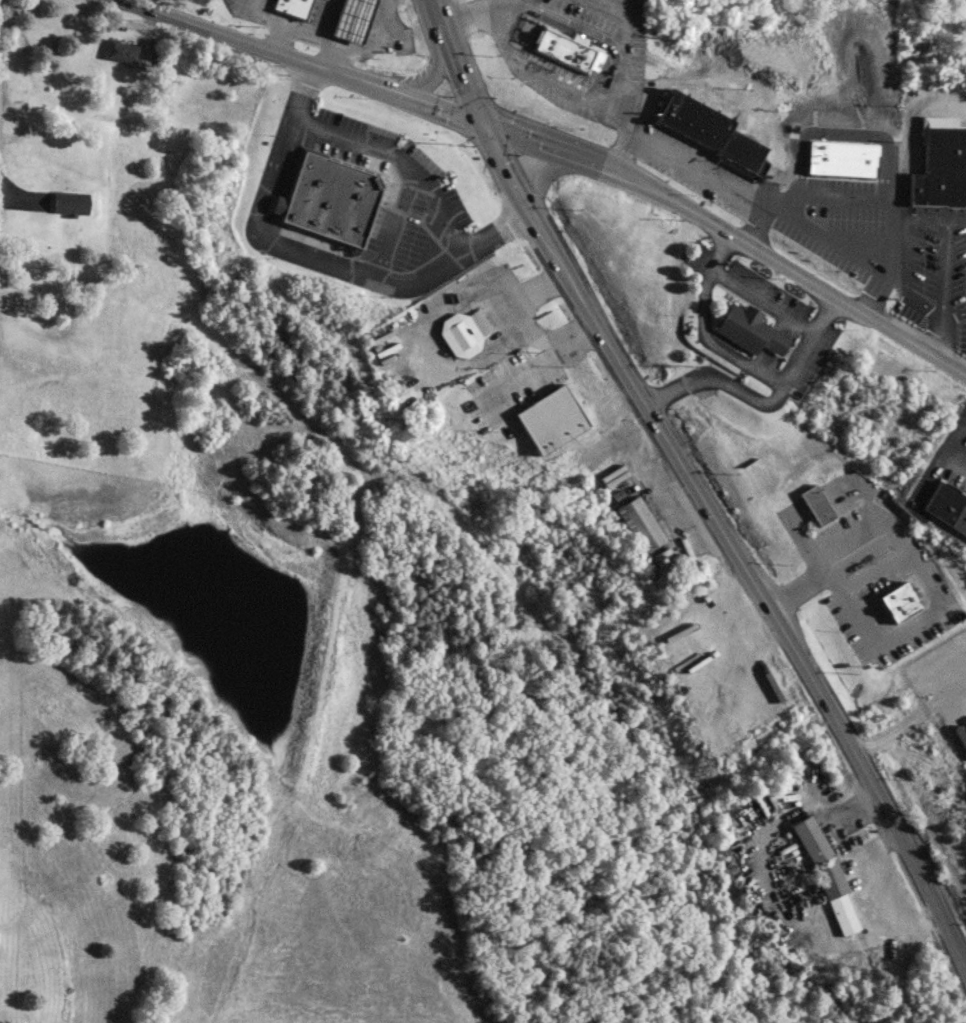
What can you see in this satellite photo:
building: (291, 7)
road: (475, 14)
road: (321, 16)
building: (350, 19)
gas station: (353, 19)
road: (441, 19)
road: (568, 21)
parking lot: (610, 28)
road: (313, 32)
road: (585, 34)
building: (576, 38)
road: (258, 44)
building: (563, 48)
building: (119, 50)
road: (430, 78)
road: (541, 78)
parking lot: (548, 80)
road: (465, 81)
road: (623, 87)
road: (436, 108)
traffic signals: (482, 124)
building: (710, 133)
road: (540, 145)
building: (942, 159)
road: (398, 160)
road: (861, 163)
parking lot: (693, 168)
road: (693, 170)
road: (288, 172)
road: (507, 172)
road: (549, 172)
road: (797, 181)
building: (915, 188)
building: (330, 199)
building: (68, 202)
building: (852, 204)
building: (278, 205)
road: (278, 205)
parking lot: (398, 208)
parking lot: (829, 215)
road: (927, 218)
road: (957, 219)
road: (392, 225)
road: (754, 226)
road: (270, 227)
road: (718, 251)
road: (835, 254)
road: (312, 256)
road: (784, 266)
parking lot: (933, 270)
road: (946, 273)
road: (905, 282)
road: (758, 301)
building: (747, 330)
building: (458, 334)
road: (955, 334)
road: (936, 340)
road: (711, 344)
building: (500, 400)
road: (763, 401)
building: (547, 414)
road: (688, 478)
building: (815, 505)
building: (945, 508)
building: (636, 522)
road: (922, 576)
building: (902, 607)
road: (909, 851)
building: (826, 878)
road: (12, 944)
building: (22, 1019)

